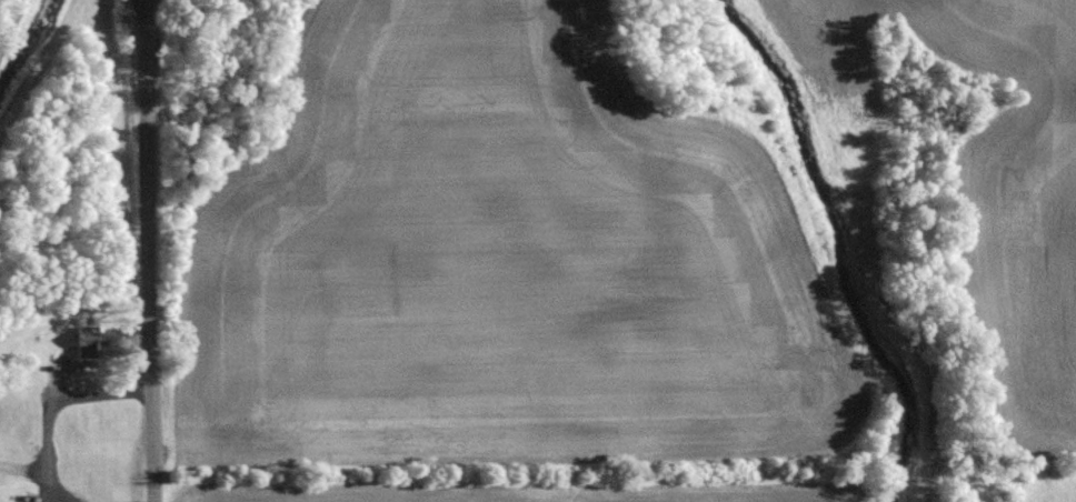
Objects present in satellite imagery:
road: (148, 251)
building: (89, 344)
road: (89, 364)
road: (52, 404)

